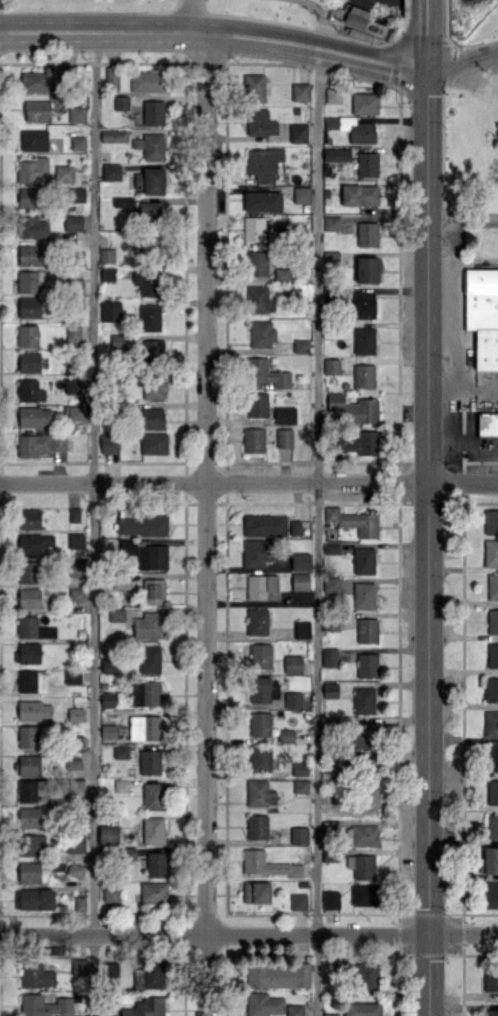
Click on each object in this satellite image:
building: (354, 16)
road: (184, 17)
road: (423, 17)
park: (474, 20)
road: (213, 36)
road: (424, 54)
road: (461, 63)
traffic signals: (424, 74)
building: (111, 77)
building: (40, 79)
building: (148, 80)
building: (253, 86)
building: (300, 92)
building: (333, 95)
building: (120, 102)
building: (364, 103)
building: (36, 110)
building: (153, 112)
building: (76, 114)
building: (260, 122)
building: (352, 128)
building: (297, 133)
building: (113, 135)
building: (33, 139)
building: (77, 142)
building: (153, 146)
building: (263, 164)
building: (367, 164)
building: (32, 170)
building: (111, 172)
building: (64, 173)
building: (150, 180)
building: (77, 194)
building: (301, 194)
building: (359, 194)
building: (28, 197)
building: (262, 201)
road: (393, 211)
building: (73, 222)
building: (331, 222)
building: (33, 227)
building: (253, 228)
building: (367, 233)
building: (149, 246)
building: (30, 255)
building: (107, 255)
building: (333, 257)
building: (256, 263)
building: (367, 269)
building: (282, 273)
building: (29, 281)
building: (147, 282)
building: (258, 299)
building: (364, 305)
building: (29, 307)
building: (110, 310)
building: (482, 314)
building: (149, 317)
building: (73, 332)
building: (261, 333)
building: (27, 335)
building: (363, 340)
building: (116, 341)
building: (301, 345)
building: (152, 348)
building: (29, 361)
building: (331, 366)
building: (266, 373)
building: (363, 376)
building: (72, 385)
building: (153, 386)
building: (29, 390)
building: (257, 404)
building: (354, 408)
building: (76, 412)
building: (285, 415)
building: (34, 416)
building: (152, 418)
building: (487, 422)
building: (284, 437)
building: (253, 440)
building: (358, 442)
building: (39, 443)
building: (109, 443)
building: (153, 443)
road: (249, 484)
building: (29, 518)
building: (354, 521)
building: (490, 521)
road: (94, 525)
building: (141, 525)
road: (207, 525)
building: (264, 525)
building: (295, 527)
road: (315, 533)
building: (75, 540)
building: (33, 544)
road: (426, 545)
building: (331, 548)
building: (257, 552)
building: (490, 553)
building: (152, 556)
building: (363, 560)
building: (300, 561)
building: (76, 568)
building: (28, 571)
building: (300, 581)
building: (120, 583)
building: (331, 584)
building: (492, 586)
building: (262, 587)
building: (153, 590)
building: (76, 594)
building: (363, 595)
building: (29, 598)
building: (116, 614)
building: (492, 620)
building: (257, 621)
building: (148, 625)
building: (33, 628)
building: (301, 629)
building: (367, 630)
building: (27, 653)
building: (261, 655)
building: (492, 655)
building: (330, 656)
building: (149, 659)
building: (293, 664)
building: (109, 665)
building: (367, 665)
building: (72, 676)
building: (31, 681)
building: (263, 689)
building: (330, 689)
building: (491, 689)
building: (145, 693)
building: (107, 699)
building: (293, 699)
building: (363, 700)
building: (33, 710)
building: (75, 714)
building: (260, 723)
building: (490, 723)
building: (144, 727)
building: (108, 731)
building: (363, 734)
building: (285, 735)
building: (28, 736)
building: (120, 751)
building: (491, 757)
building: (260, 758)
building: (149, 761)
building: (334, 761)
building: (28, 764)
building: (299, 768)
building: (121, 785)
building: (301, 786)
building: (31, 790)
building: (492, 791)
building: (259, 792)
building: (152, 795)
building: (28, 817)
building: (257, 826)
building: (492, 826)
building: (153, 830)
building: (108, 835)
building: (298, 835)
building: (362, 835)
building: (74, 843)
building: (31, 845)
building: (489, 860)
building: (156, 864)
building: (268, 865)
building: (361, 866)
building: (75, 870)
building: (29, 872)
building: (153, 892)
building: (256, 892)
building: (110, 893)
building: (364, 894)
building: (490, 894)
building: (34, 899)
building: (330, 899)
building: (298, 901)
building: (80, 902)
traffic signals: (429, 934)
road: (249, 935)
building: (77, 966)
building: (109, 969)
building: (149, 974)
building: (36, 975)
building: (278, 975)
building: (364, 975)
building: (490, 980)
building: (263, 1004)
building: (43, 1005)
building: (144, 1007)
building: (362, 1009)
building: (295, 1010)
building: (491, 1012)
building: (330, 1014)

